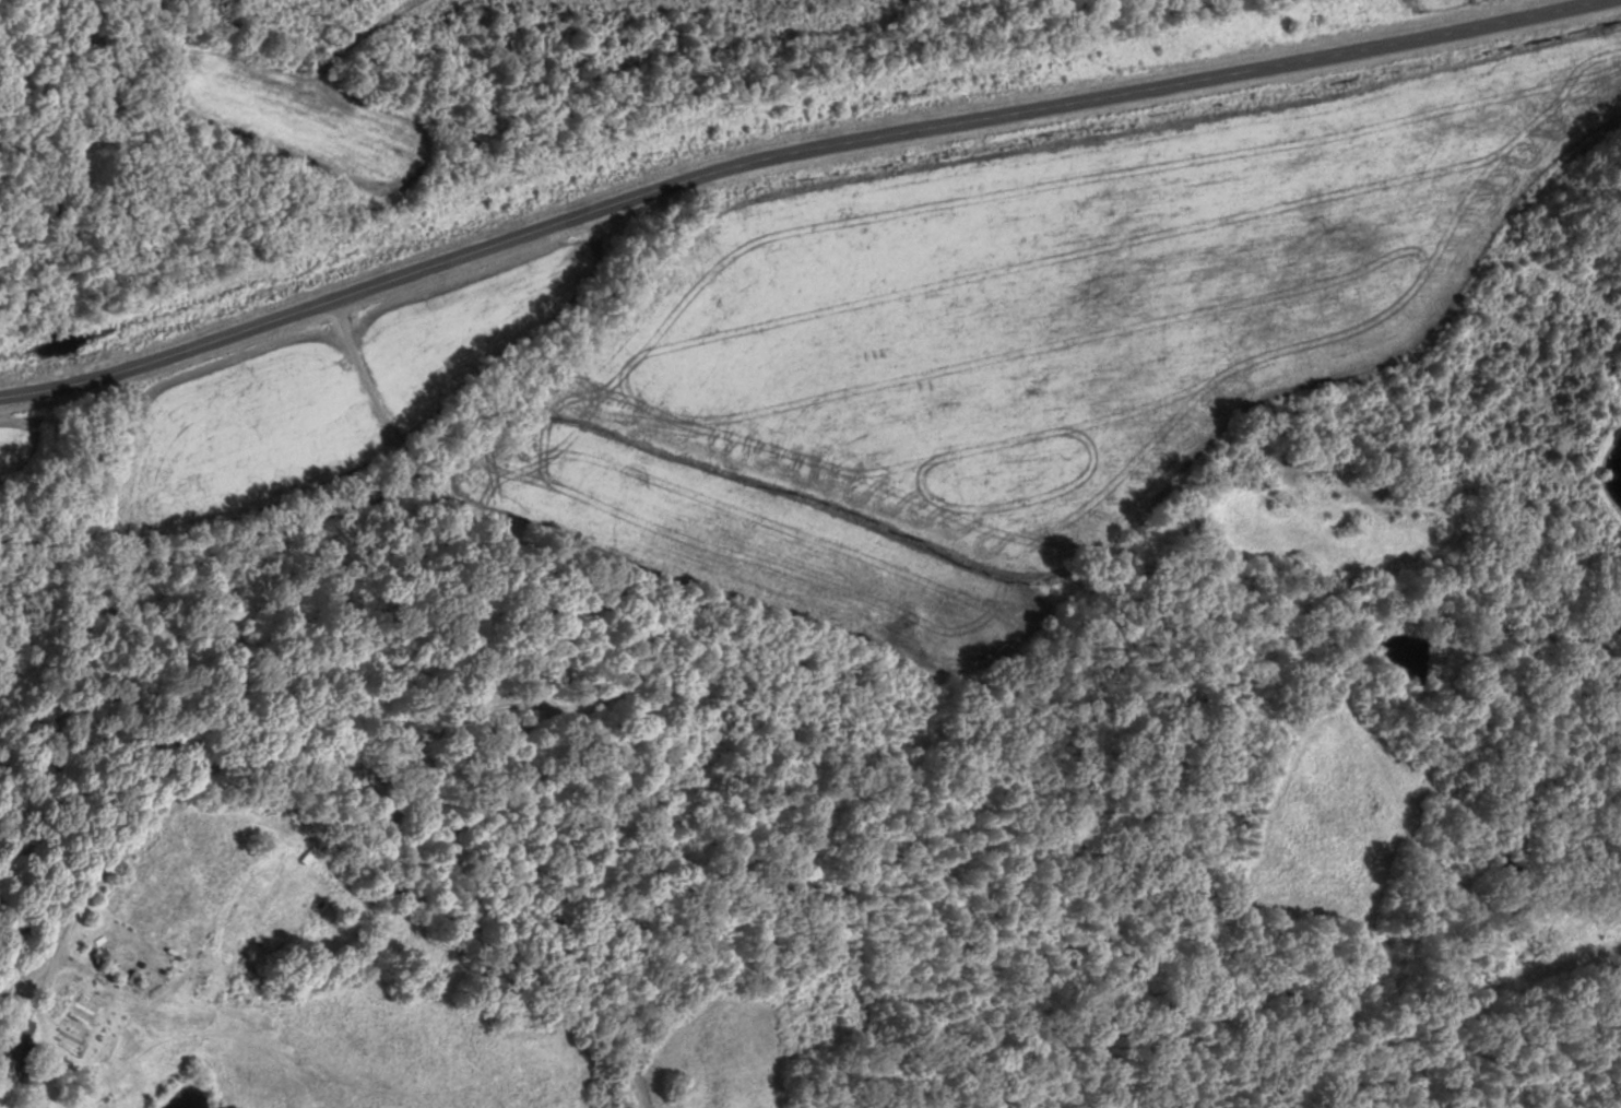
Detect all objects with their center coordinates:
road: (785, 151)
road: (592, 592)
road: (161, 869)
road: (471, 973)
building: (21, 1044)

